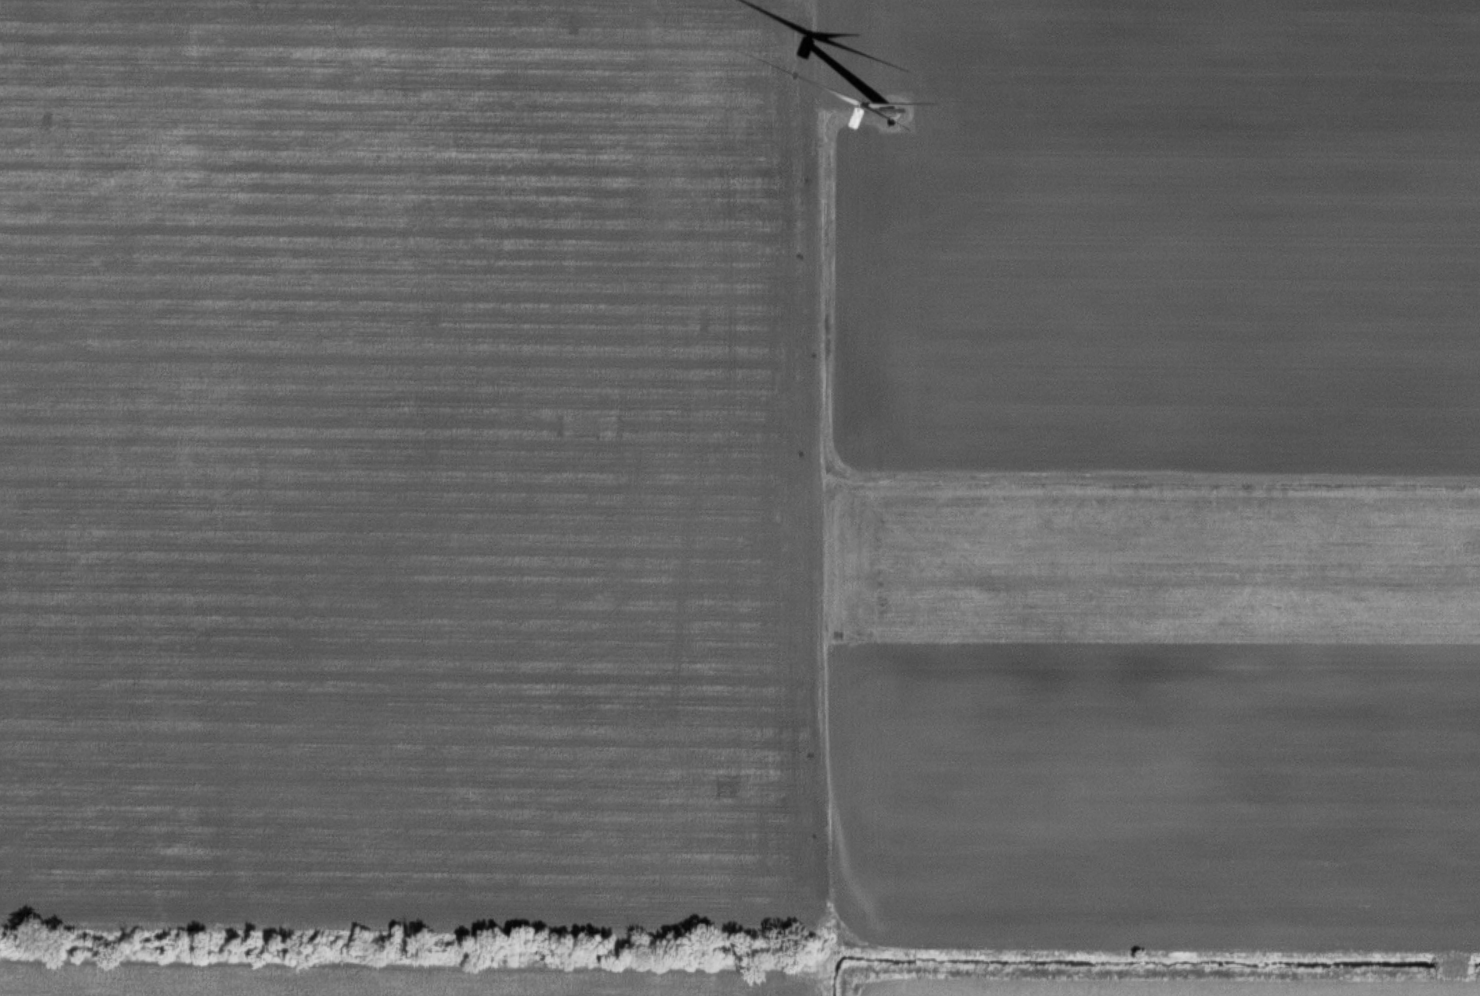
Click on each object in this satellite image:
wind turbine: (891, 113)

